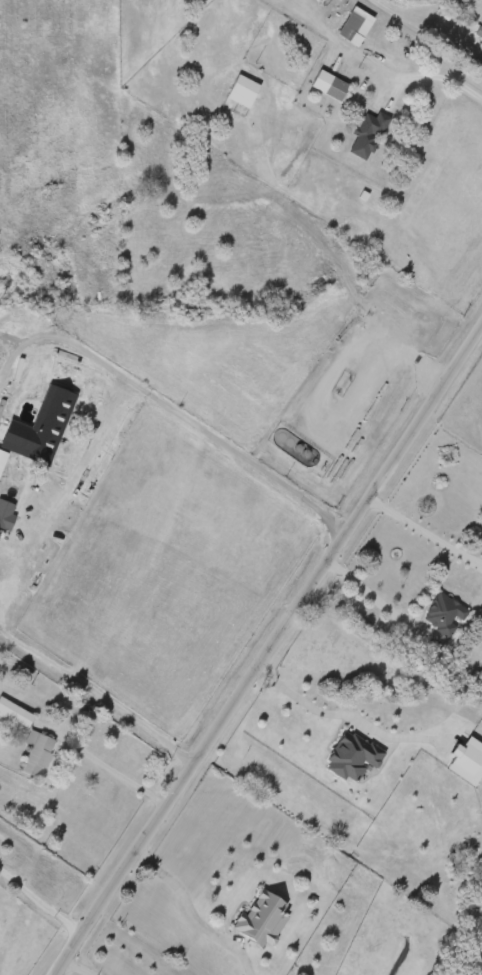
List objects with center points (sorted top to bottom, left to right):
building: (351, 26)
building: (478, 30)
building: (480, 42)
road: (443, 81)
building: (326, 85)
building: (239, 91)
building: (364, 135)
road: (170, 413)
building: (37, 432)
building: (1, 454)
road: (60, 482)
building: (4, 514)
road: (368, 598)
building: (441, 615)
road: (266, 647)
road: (97, 688)
building: (13, 714)
road: (344, 717)
building: (33, 753)
building: (349, 756)
building: (466, 761)
road: (102, 767)
road: (37, 906)
road: (189, 914)
building: (259, 918)
road: (71, 968)

